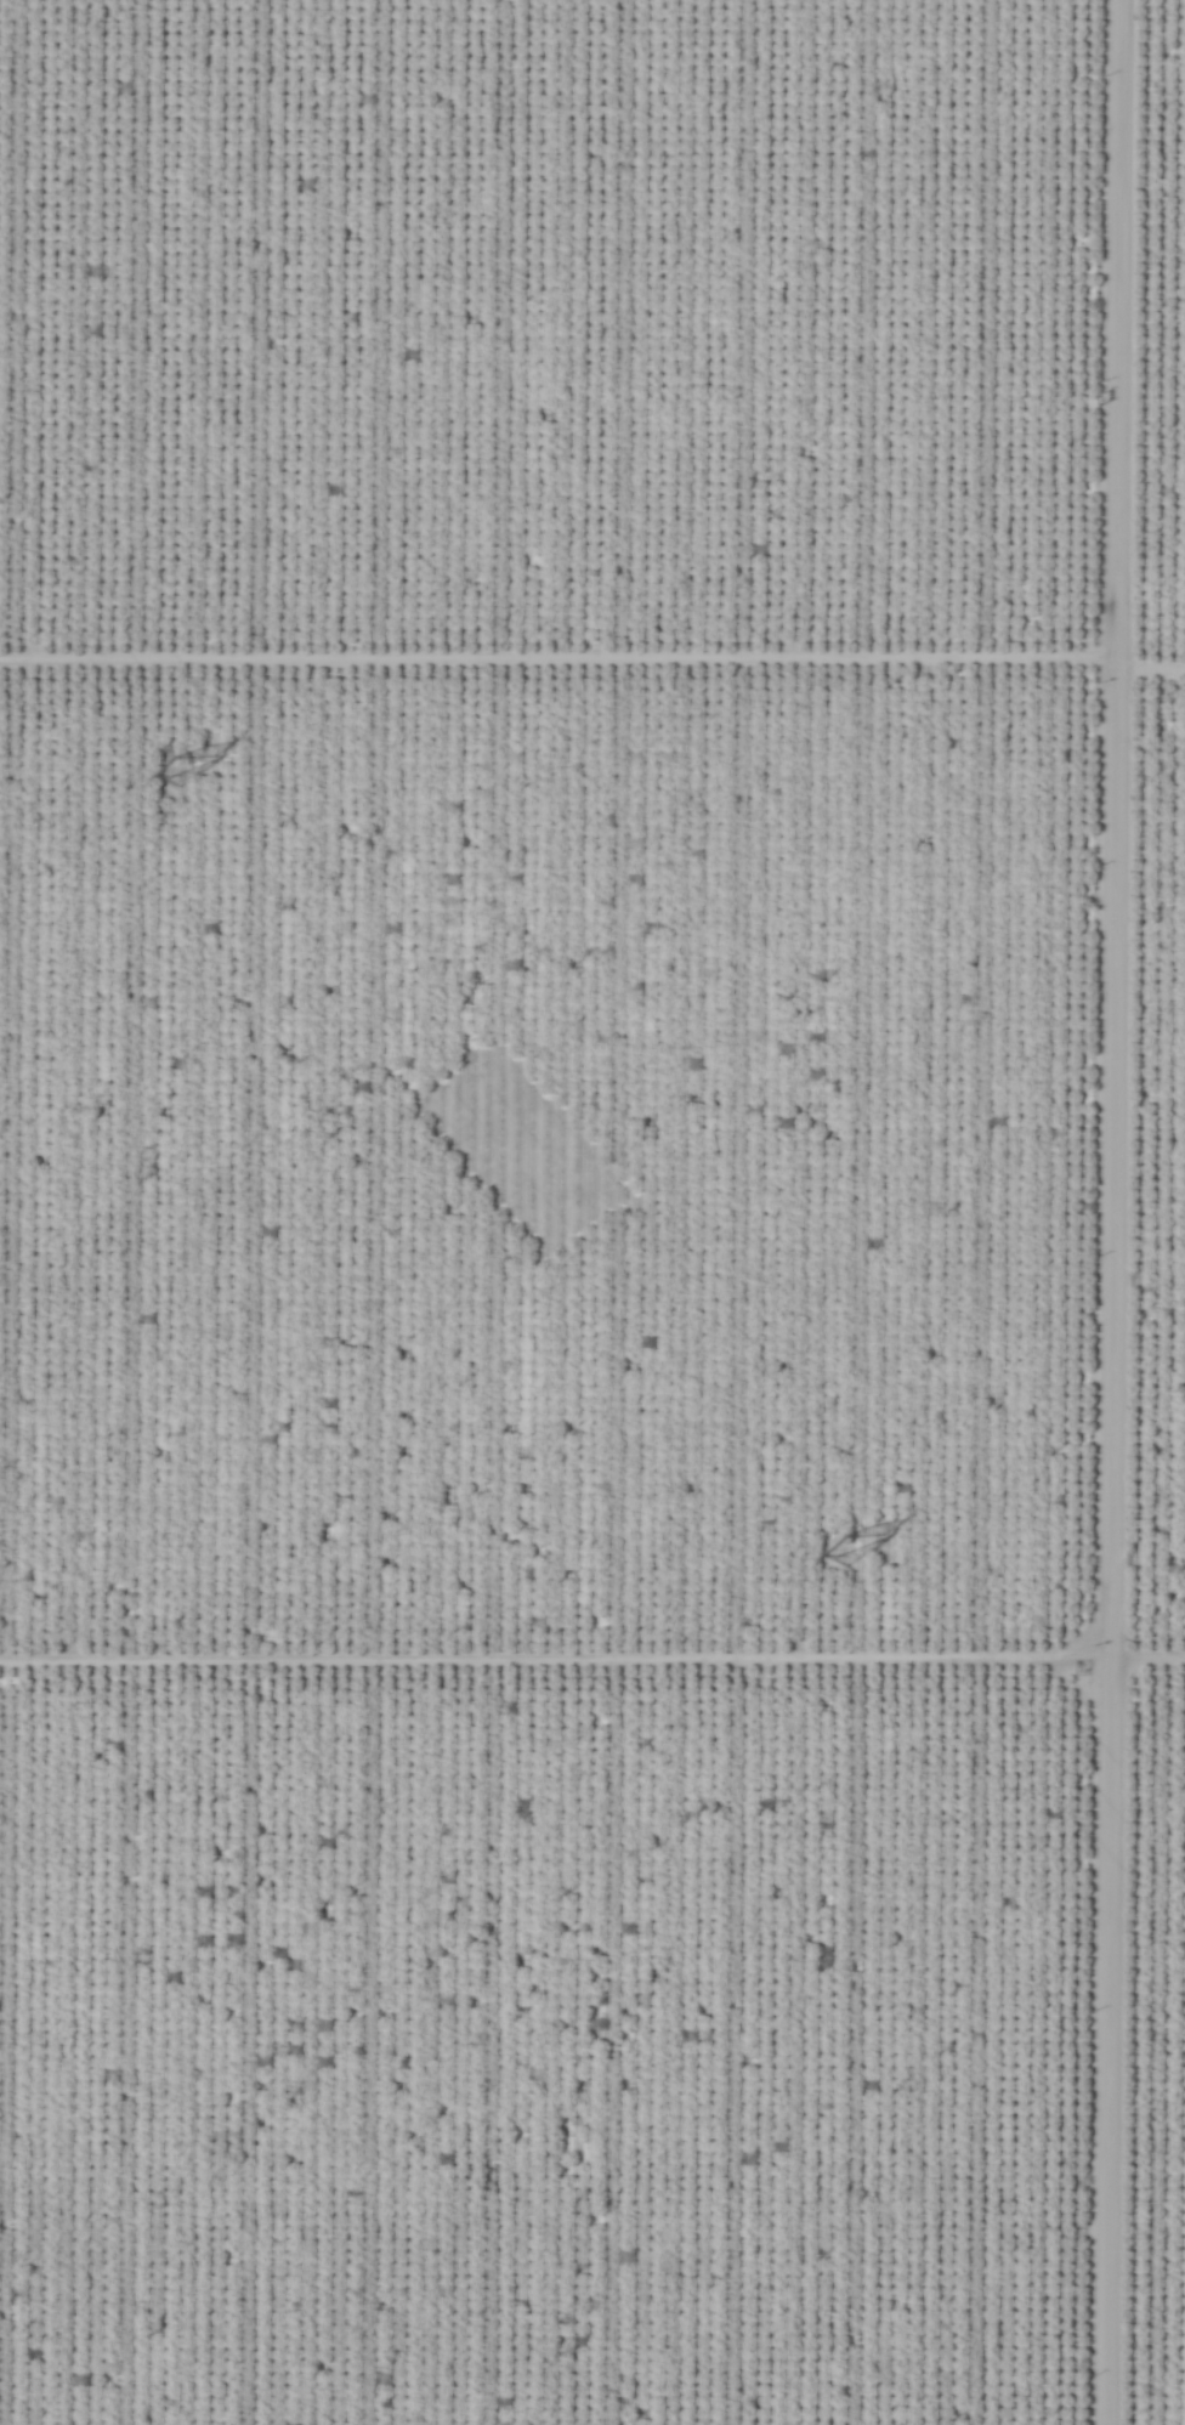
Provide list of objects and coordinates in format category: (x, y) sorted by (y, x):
power tower: (197, 757)
road: (1110, 1212)
power tower: (879, 1558)

